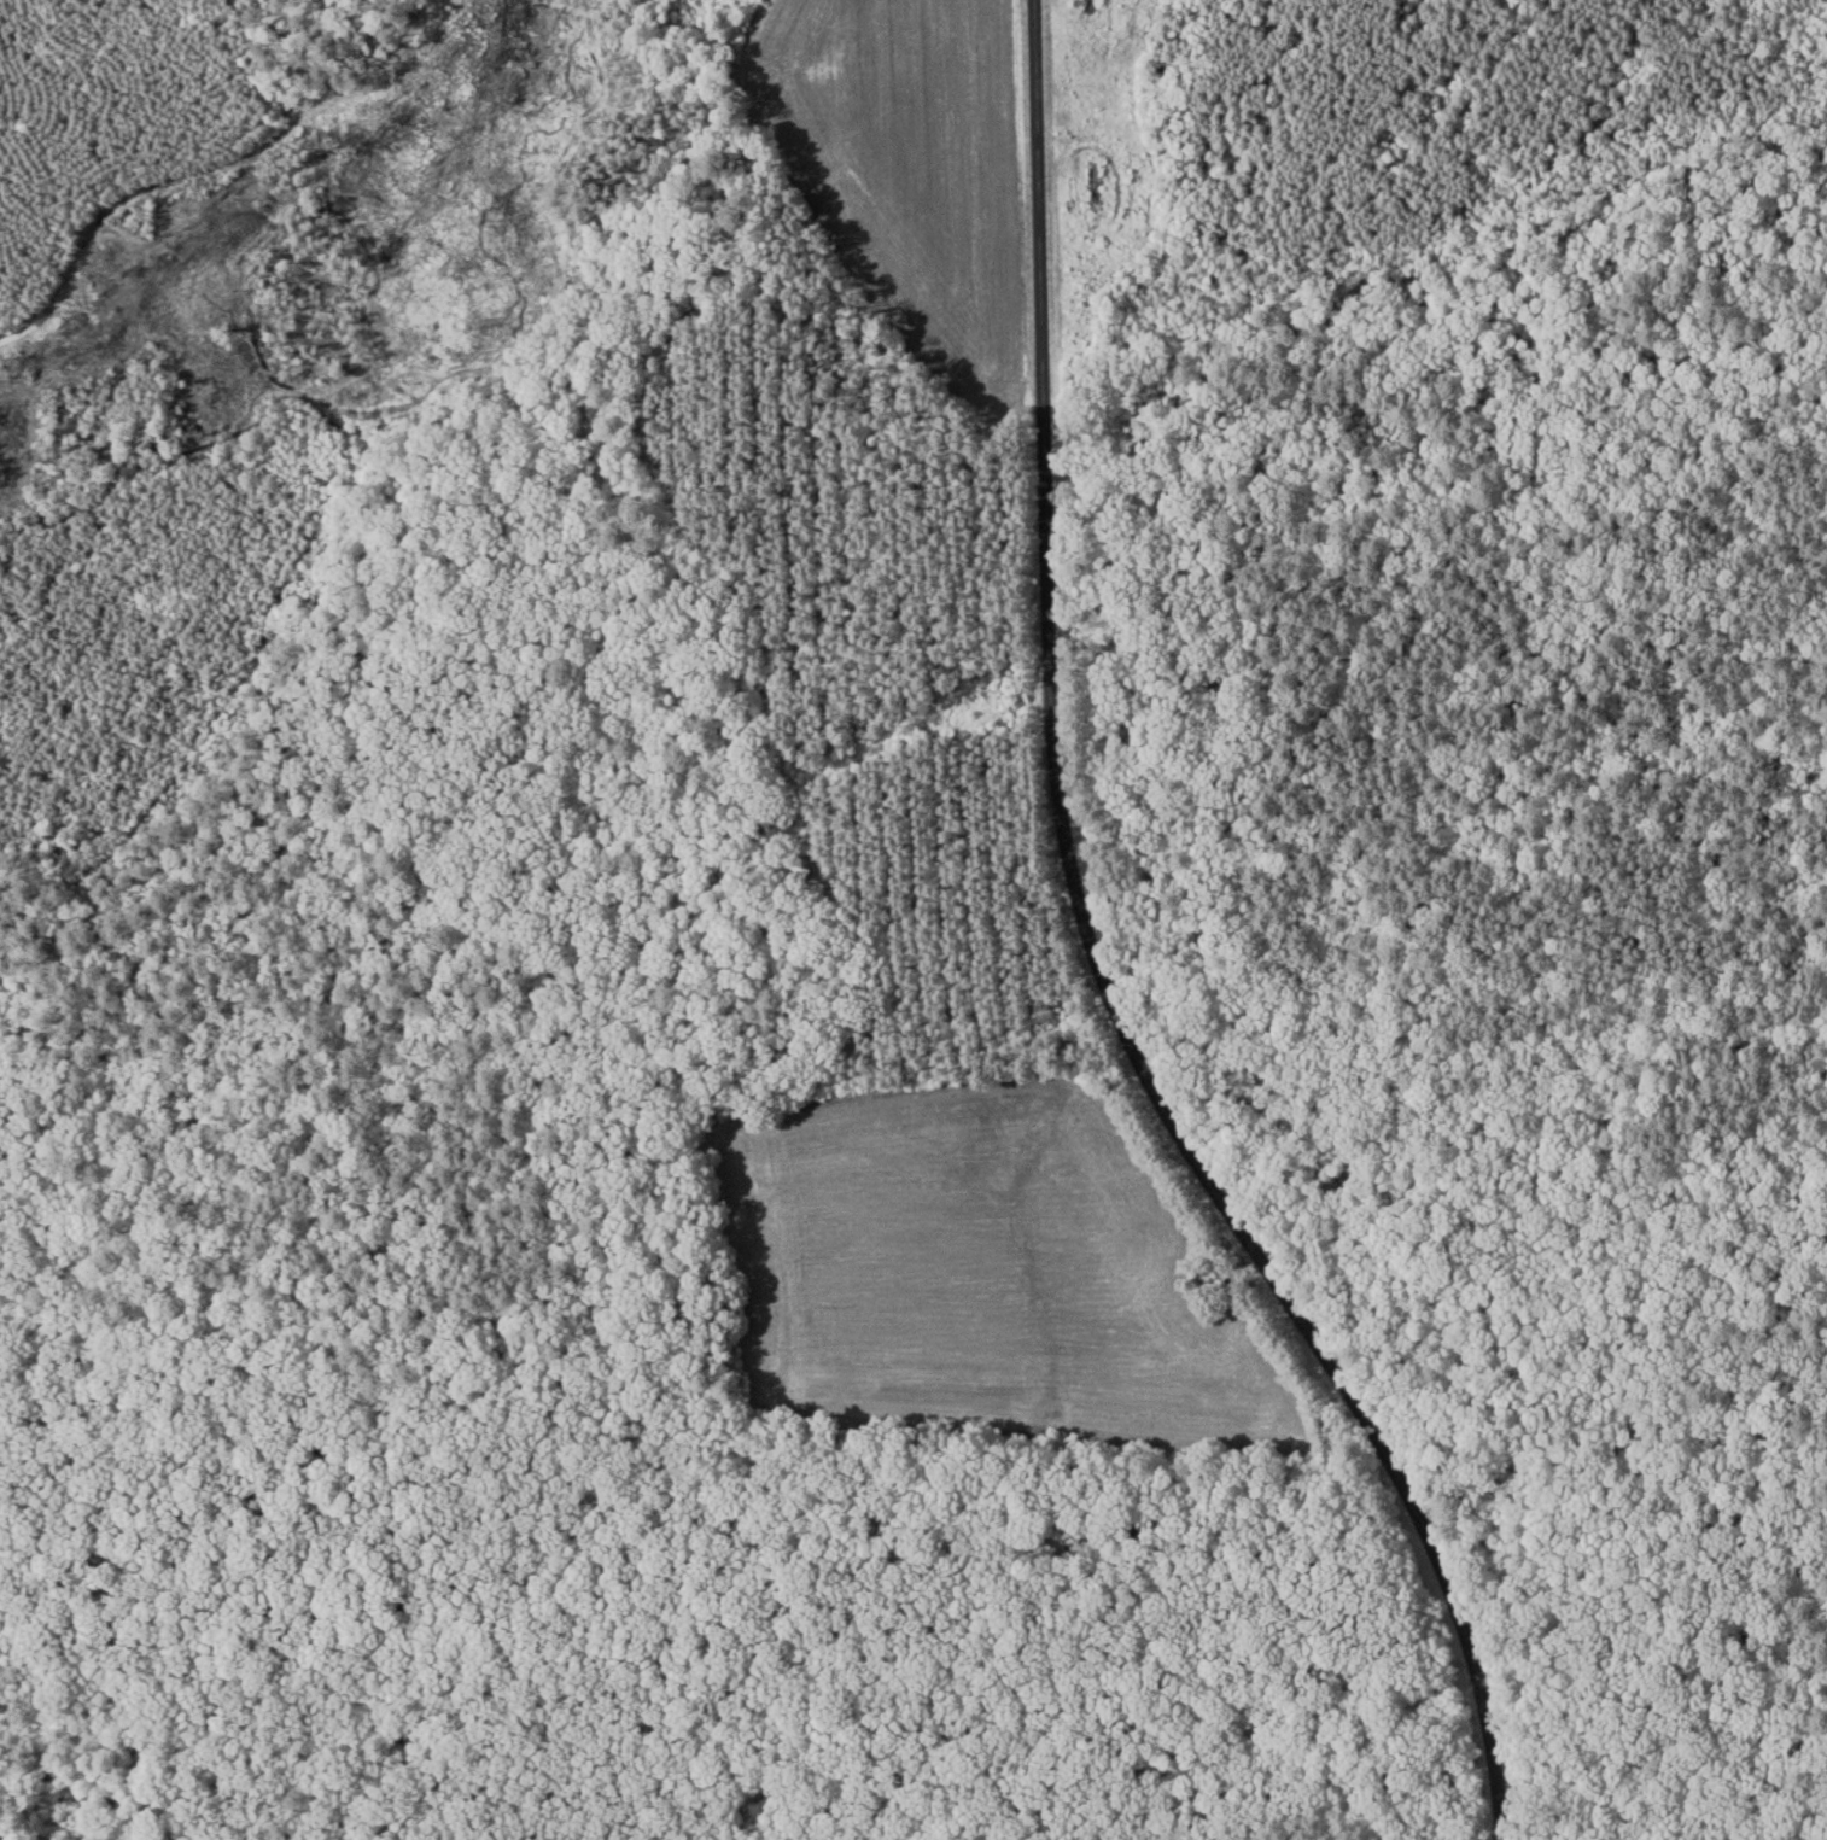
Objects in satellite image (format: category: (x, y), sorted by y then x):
road: (1098, 970)

